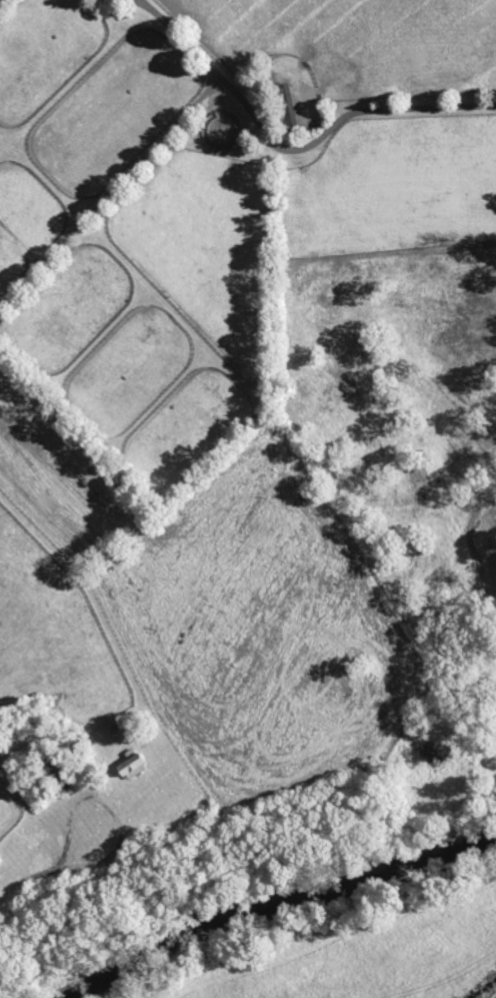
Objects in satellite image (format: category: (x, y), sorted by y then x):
road: (0, 0)
building: (284, 105)
road: (292, 150)
road: (111, 192)
building: (130, 767)
road: (115, 820)
road: (25, 886)

